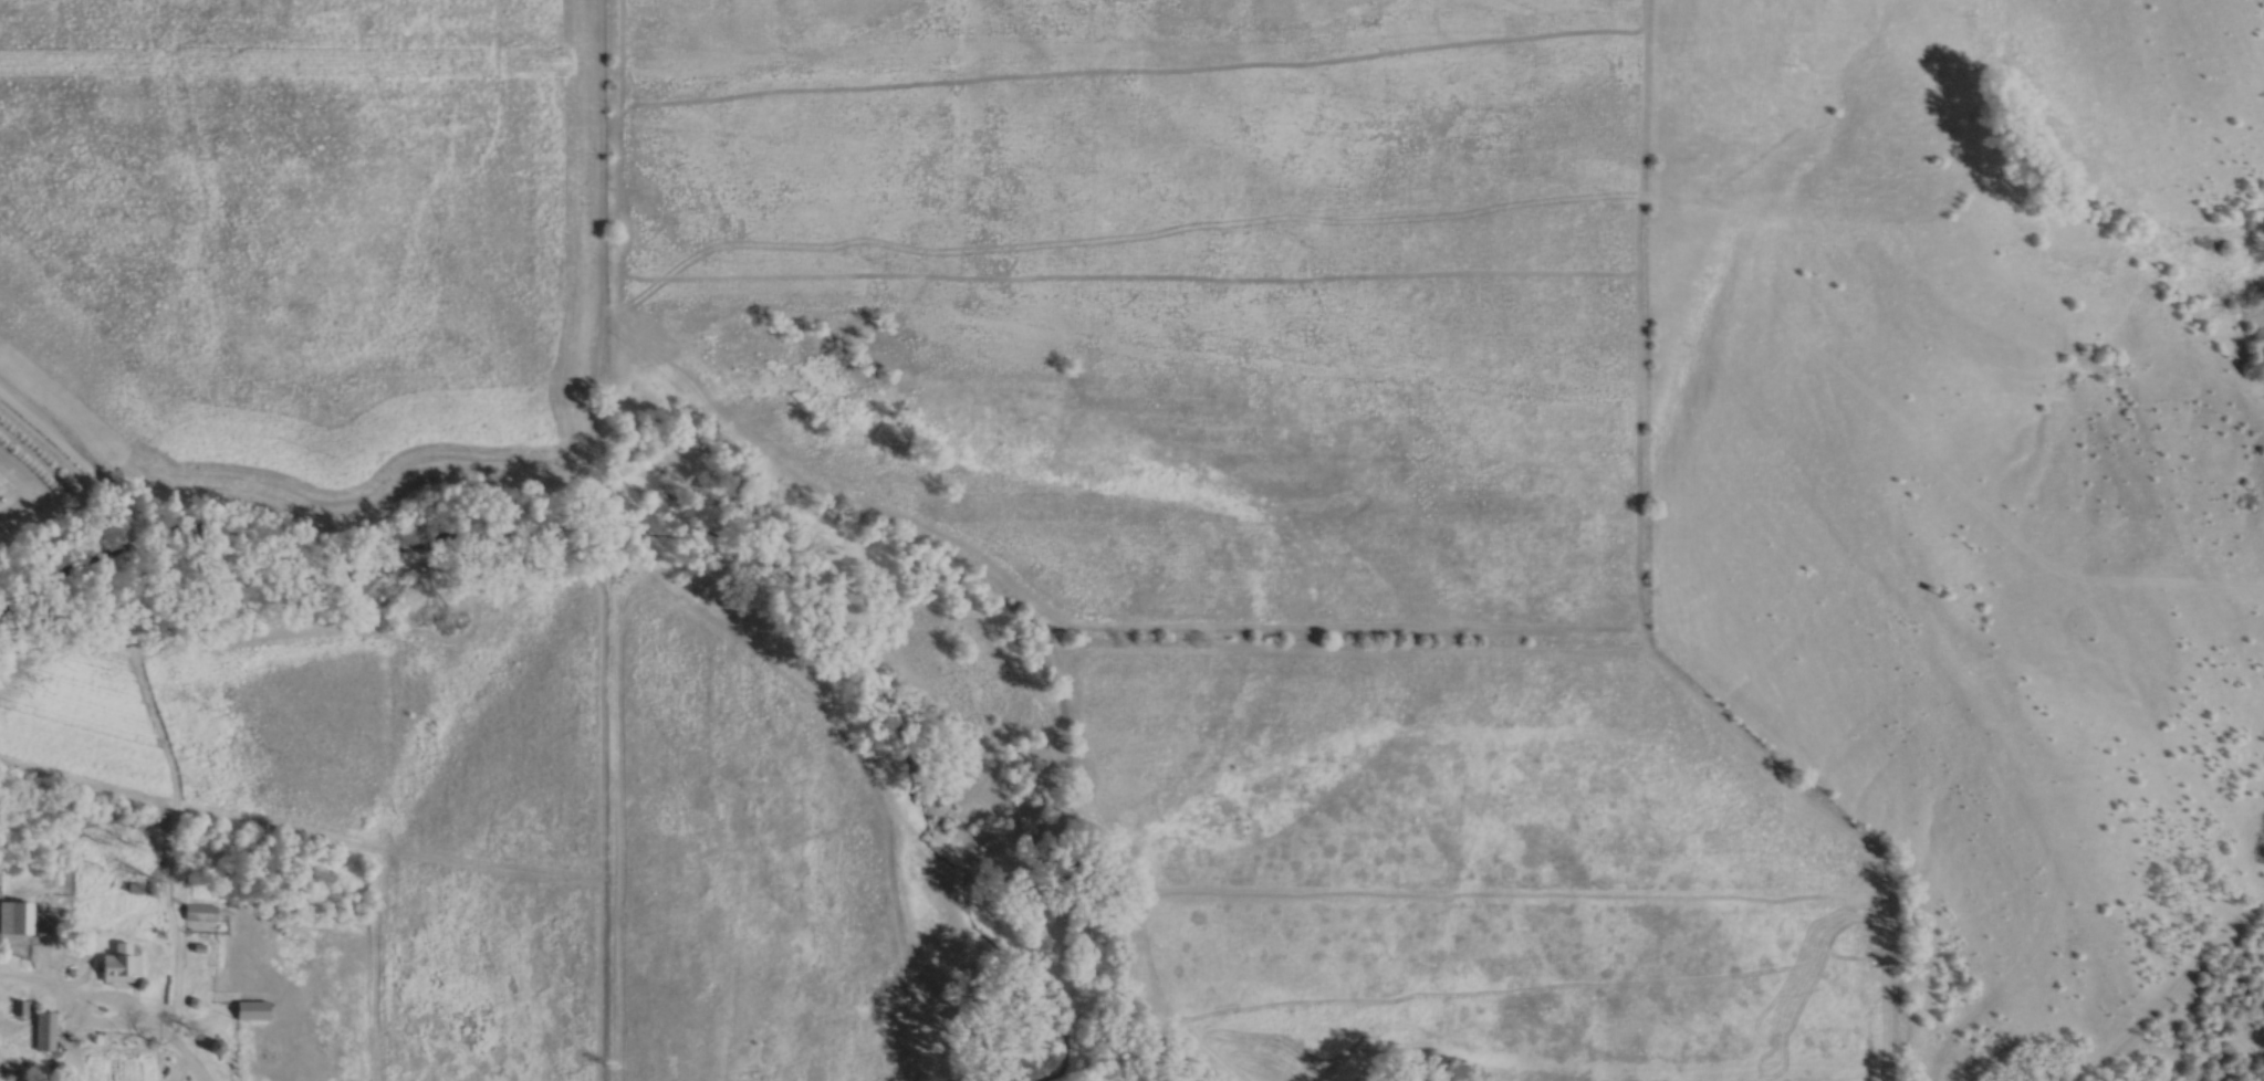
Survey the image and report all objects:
building: (201, 912)
building: (17, 916)
building: (122, 964)
building: (253, 1009)
road: (91, 1025)
building: (44, 1030)
road: (178, 1047)

